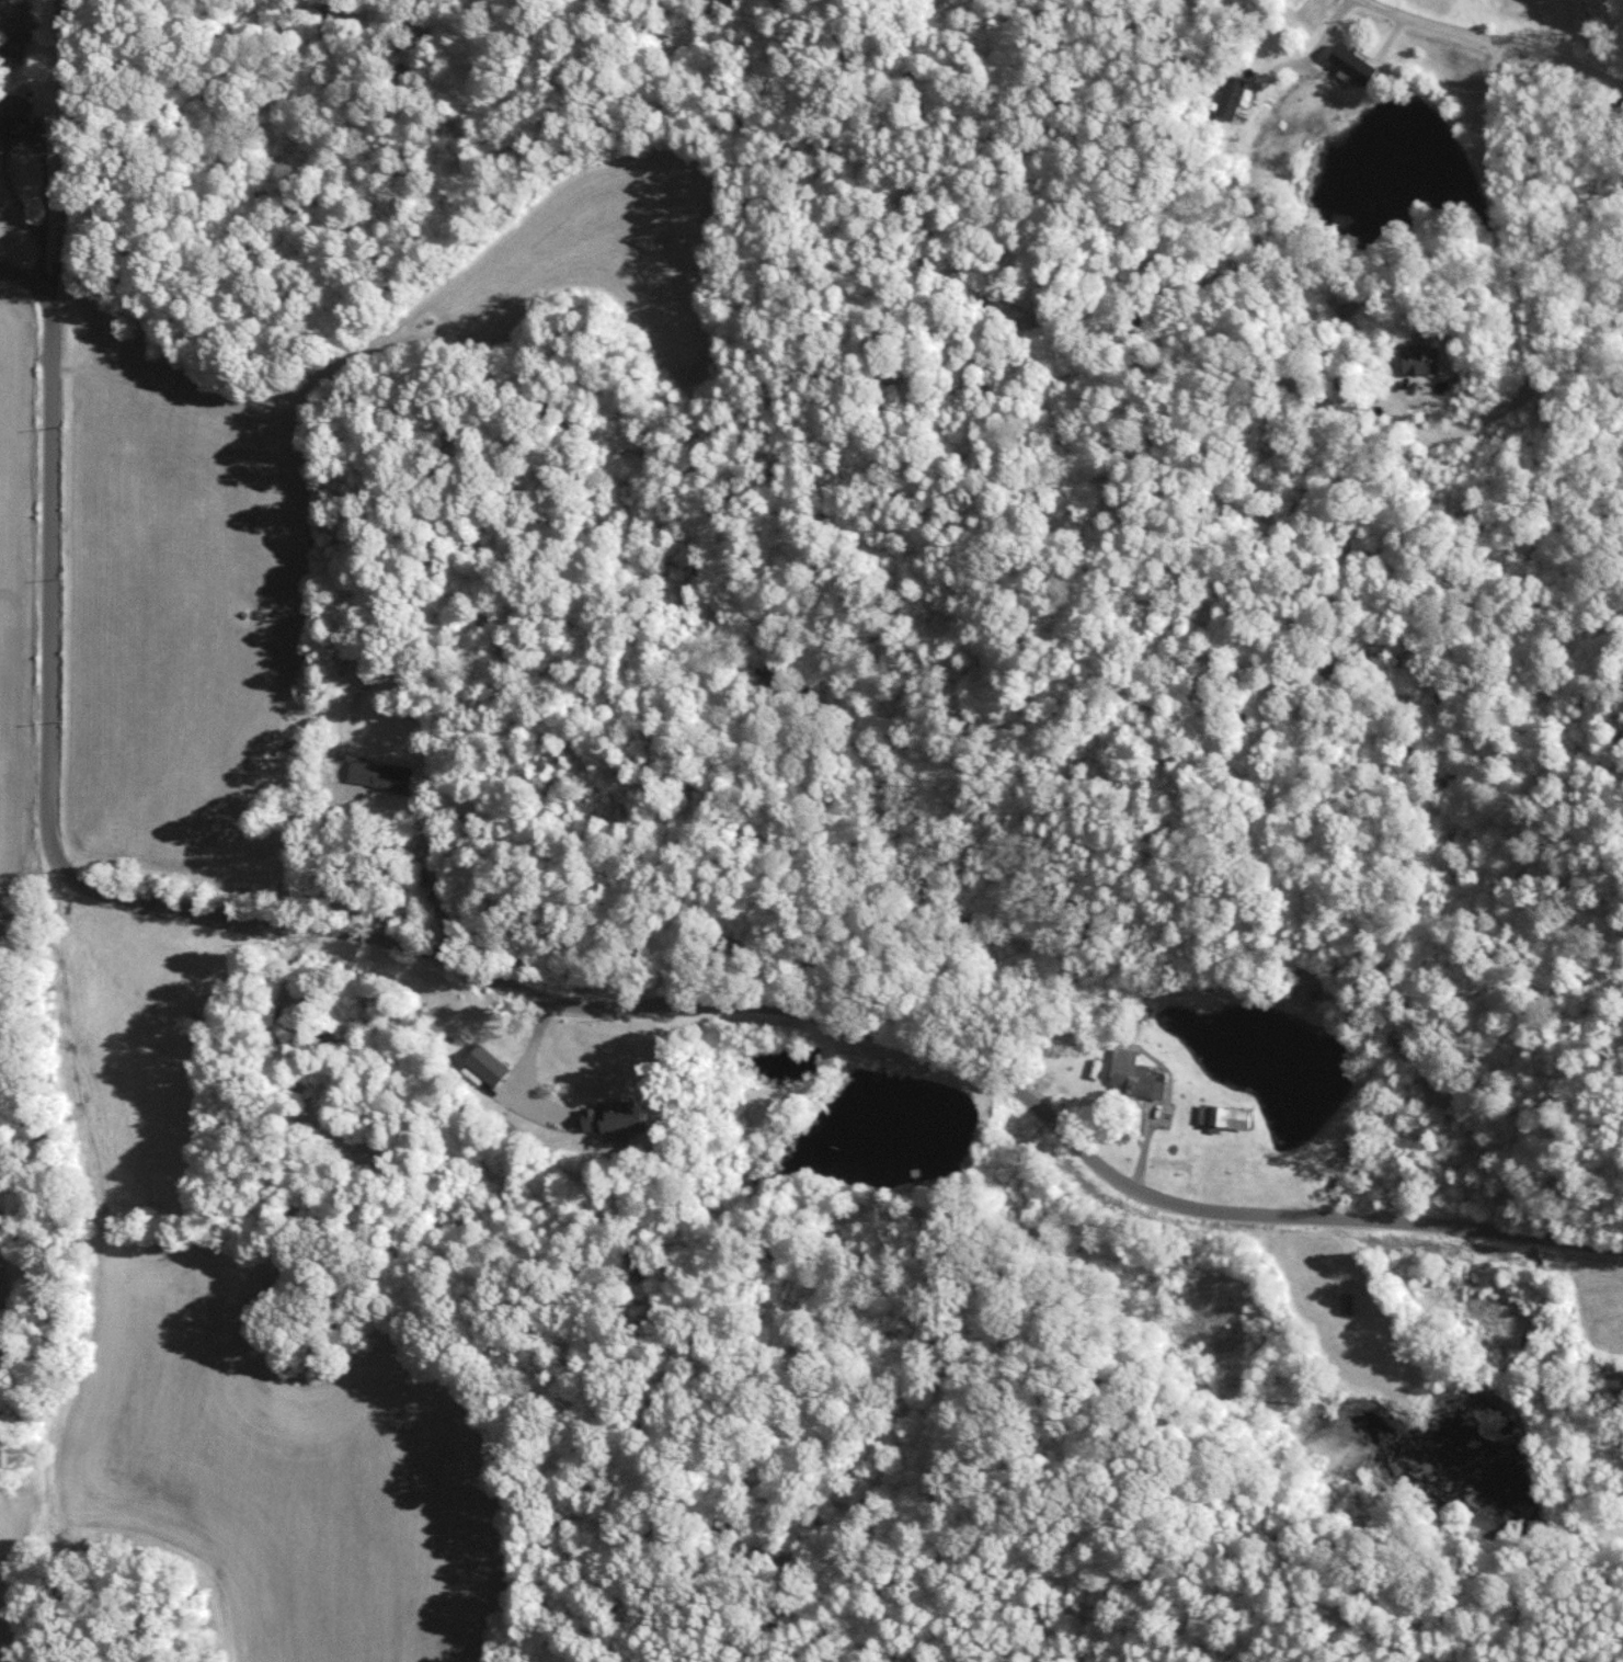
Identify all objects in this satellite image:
road: (1487, 44)
road: (1319, 45)
building: (1350, 62)
building: (1230, 96)
building: (14, 112)
road: (56, 143)
road: (23, 275)
road: (1524, 295)
building: (1419, 357)
building: (376, 774)
road: (432, 874)
road: (569, 998)
road: (528, 1051)
building: (484, 1062)
building: (1132, 1073)
building: (612, 1116)
building: (1345, 1301)

